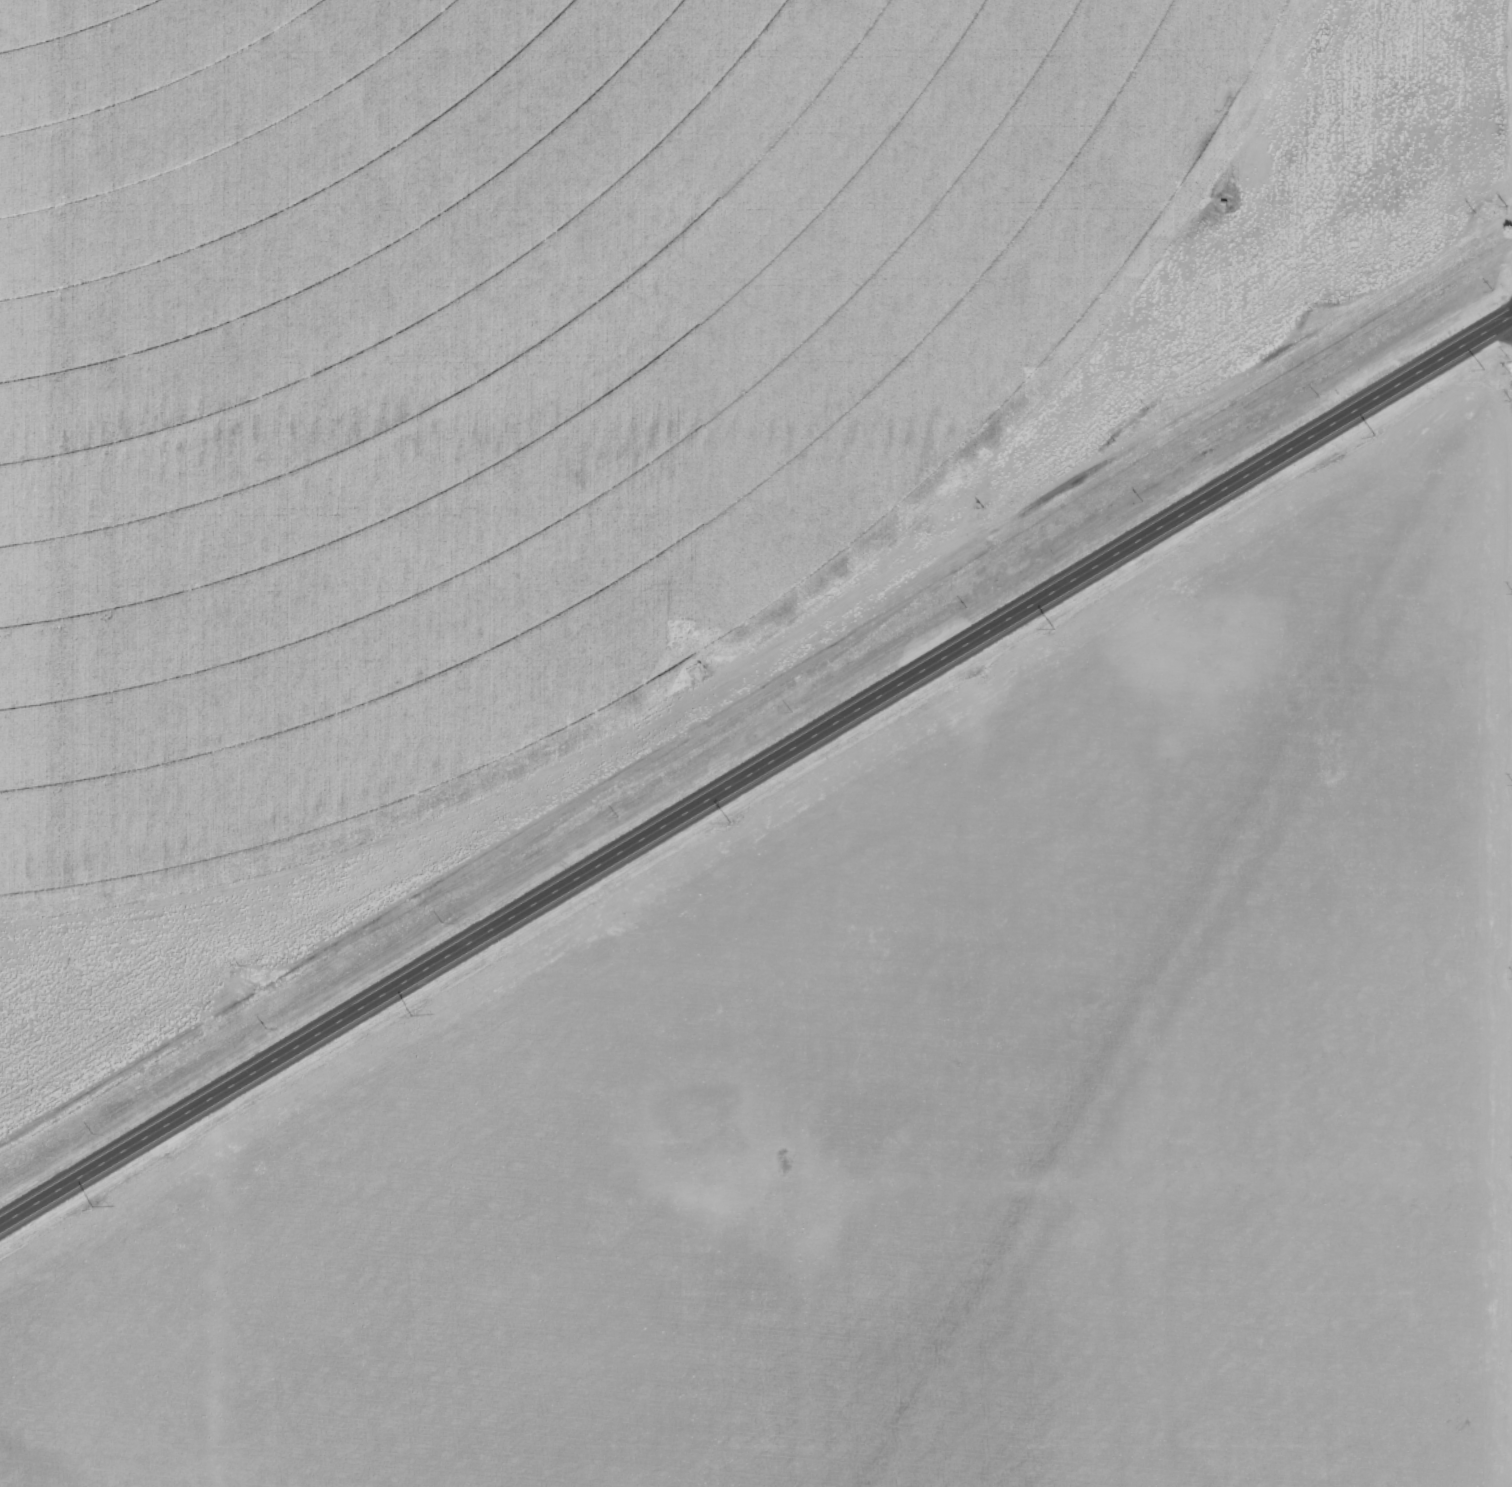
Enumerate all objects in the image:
power tower: (1480, 364)
power tower: (1370, 432)
power tower: (1048, 625)
road: (756, 774)
power tower: (724, 818)
power tower: (407, 1011)
power tower: (88, 1202)

